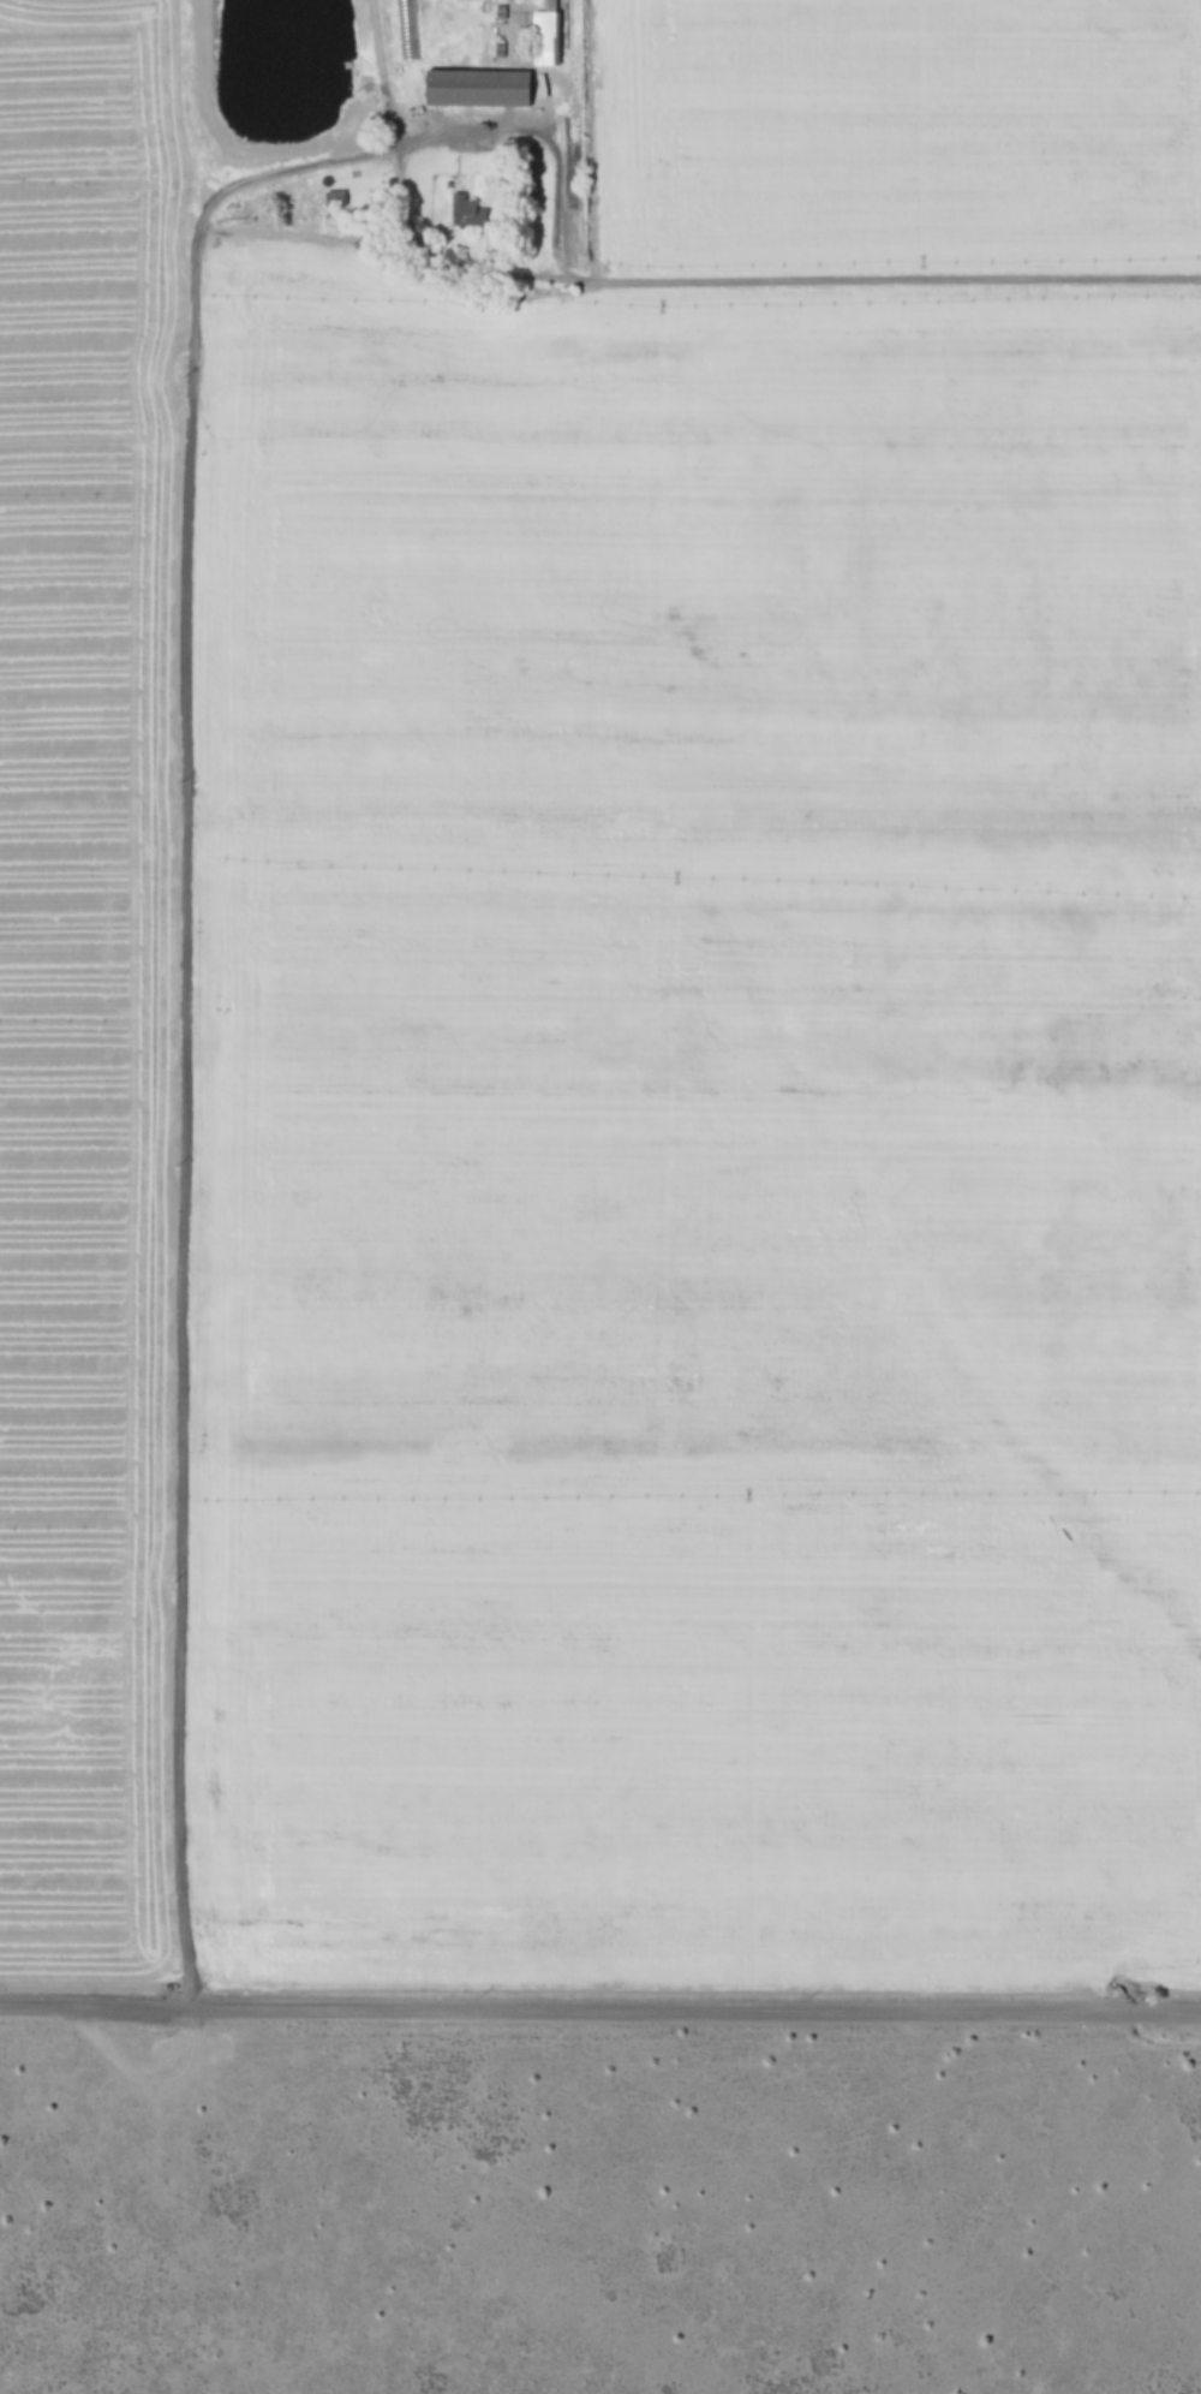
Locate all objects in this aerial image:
building: (479, 87)
road: (600, 2002)

